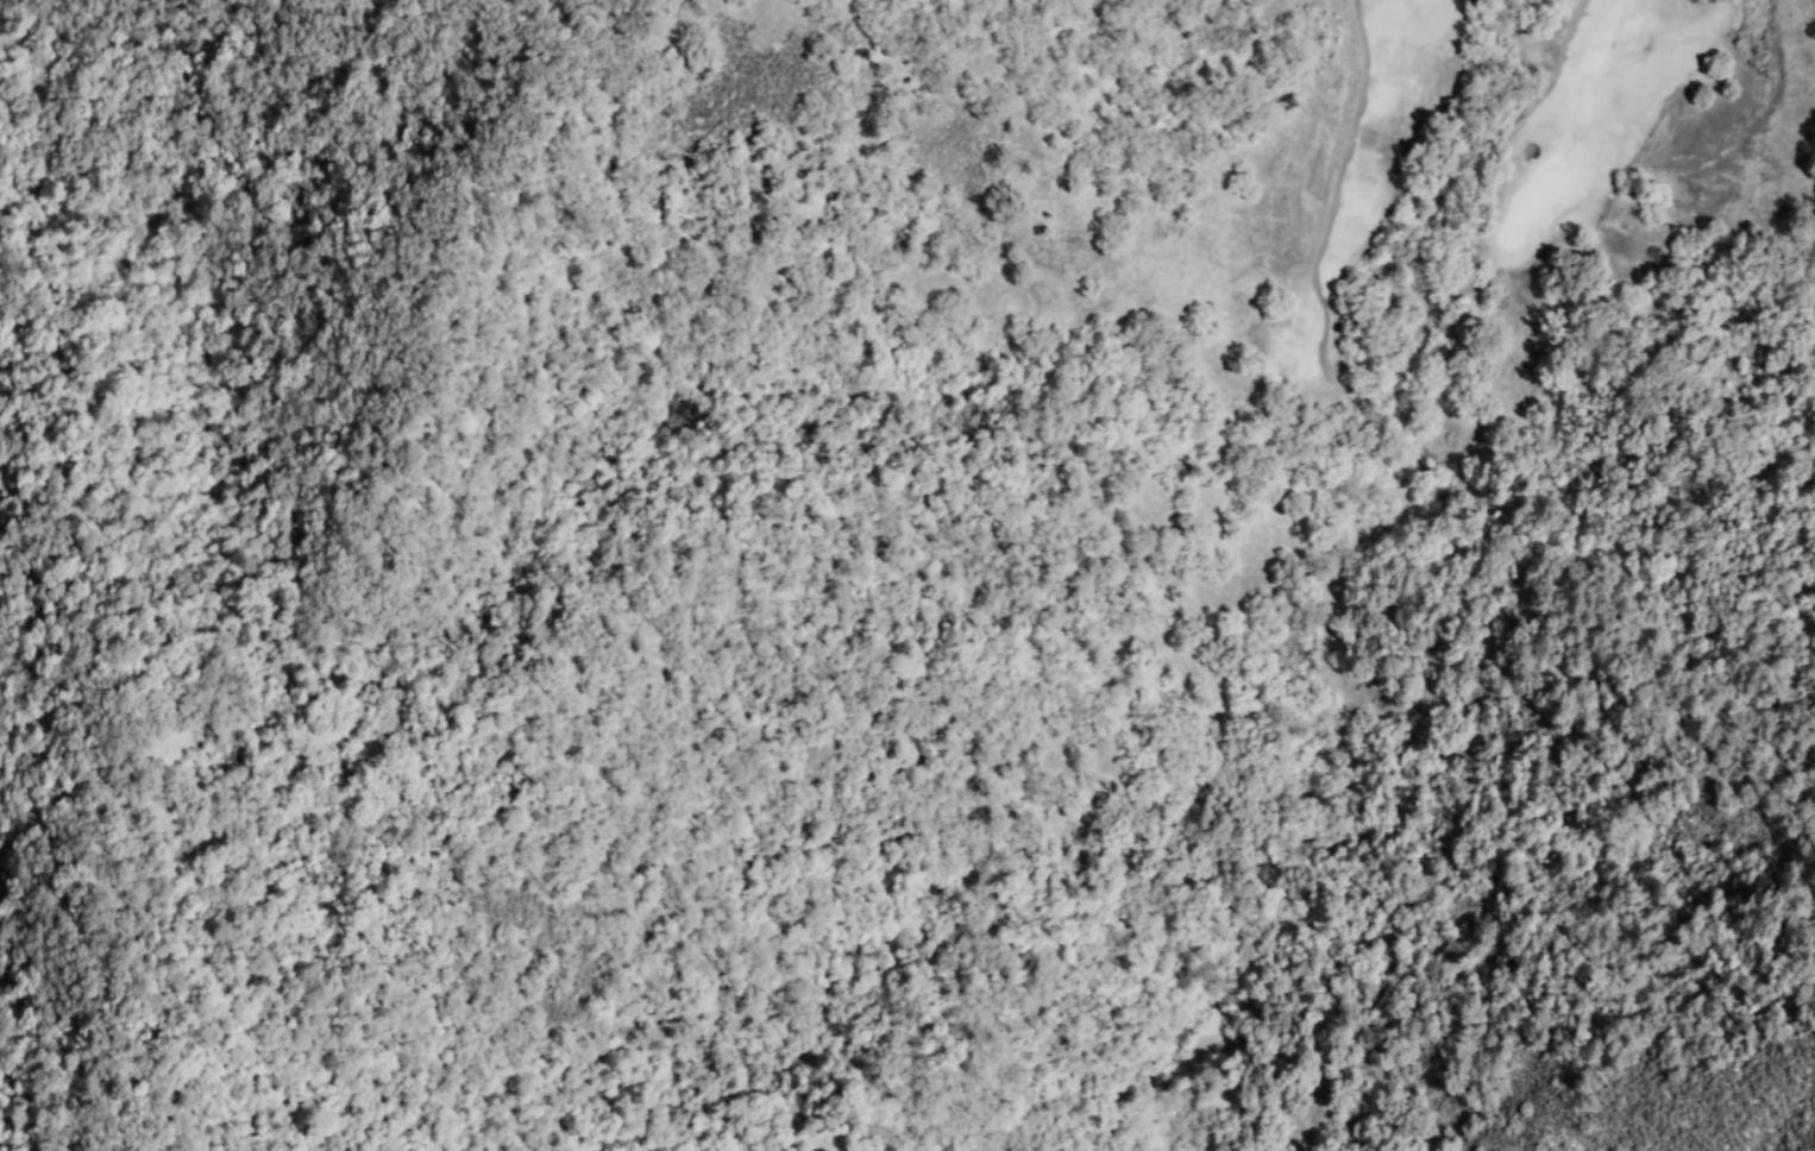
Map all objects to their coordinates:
park: (1486, 159)
road: (1370, 373)

